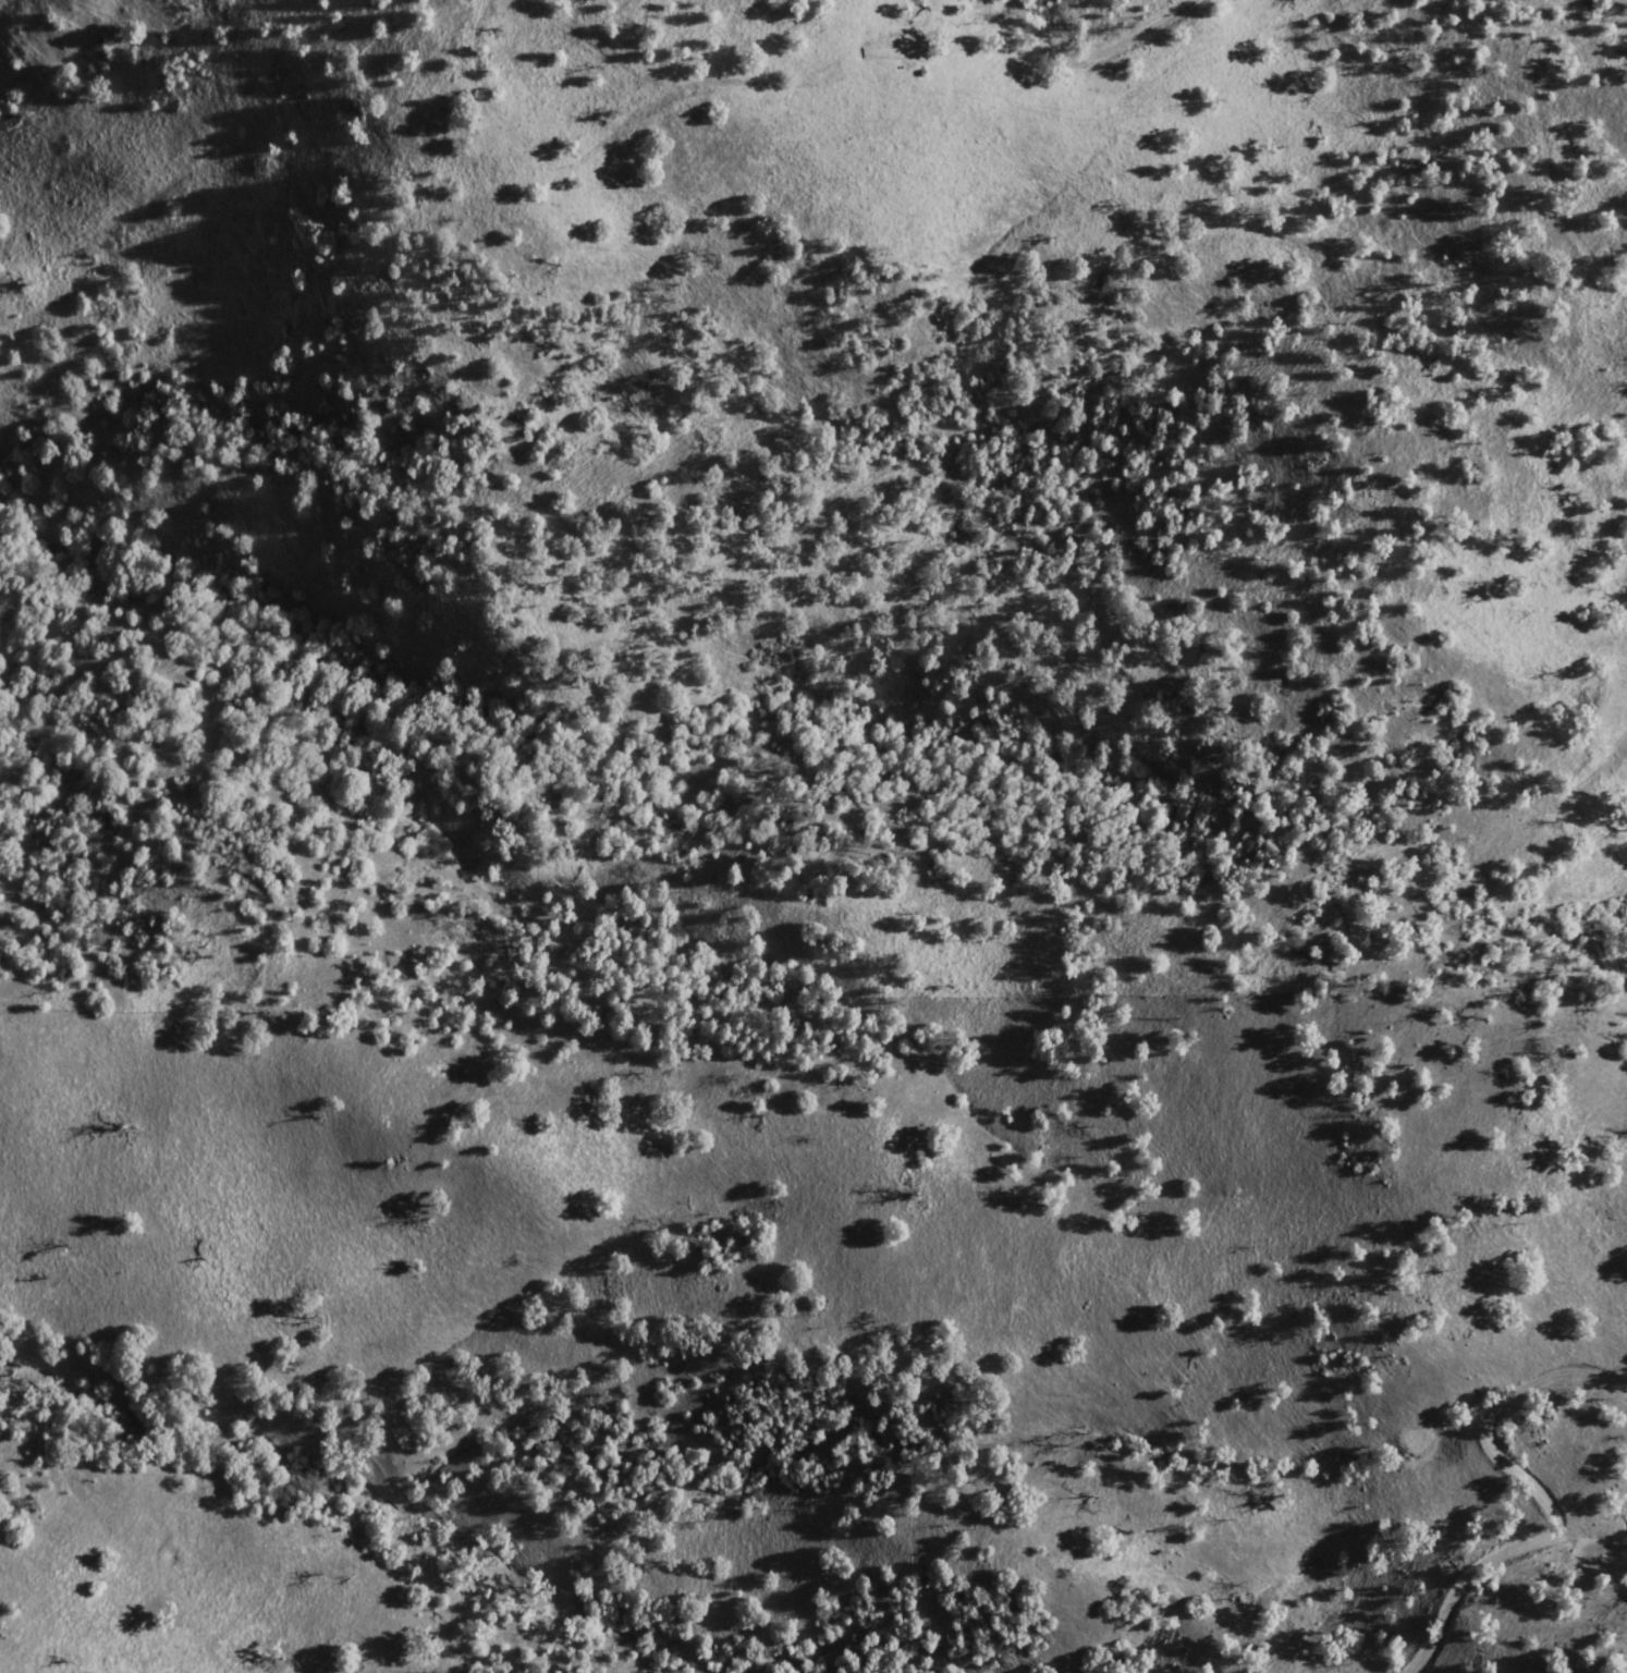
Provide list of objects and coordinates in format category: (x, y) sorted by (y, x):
road: (1539, 1501)

